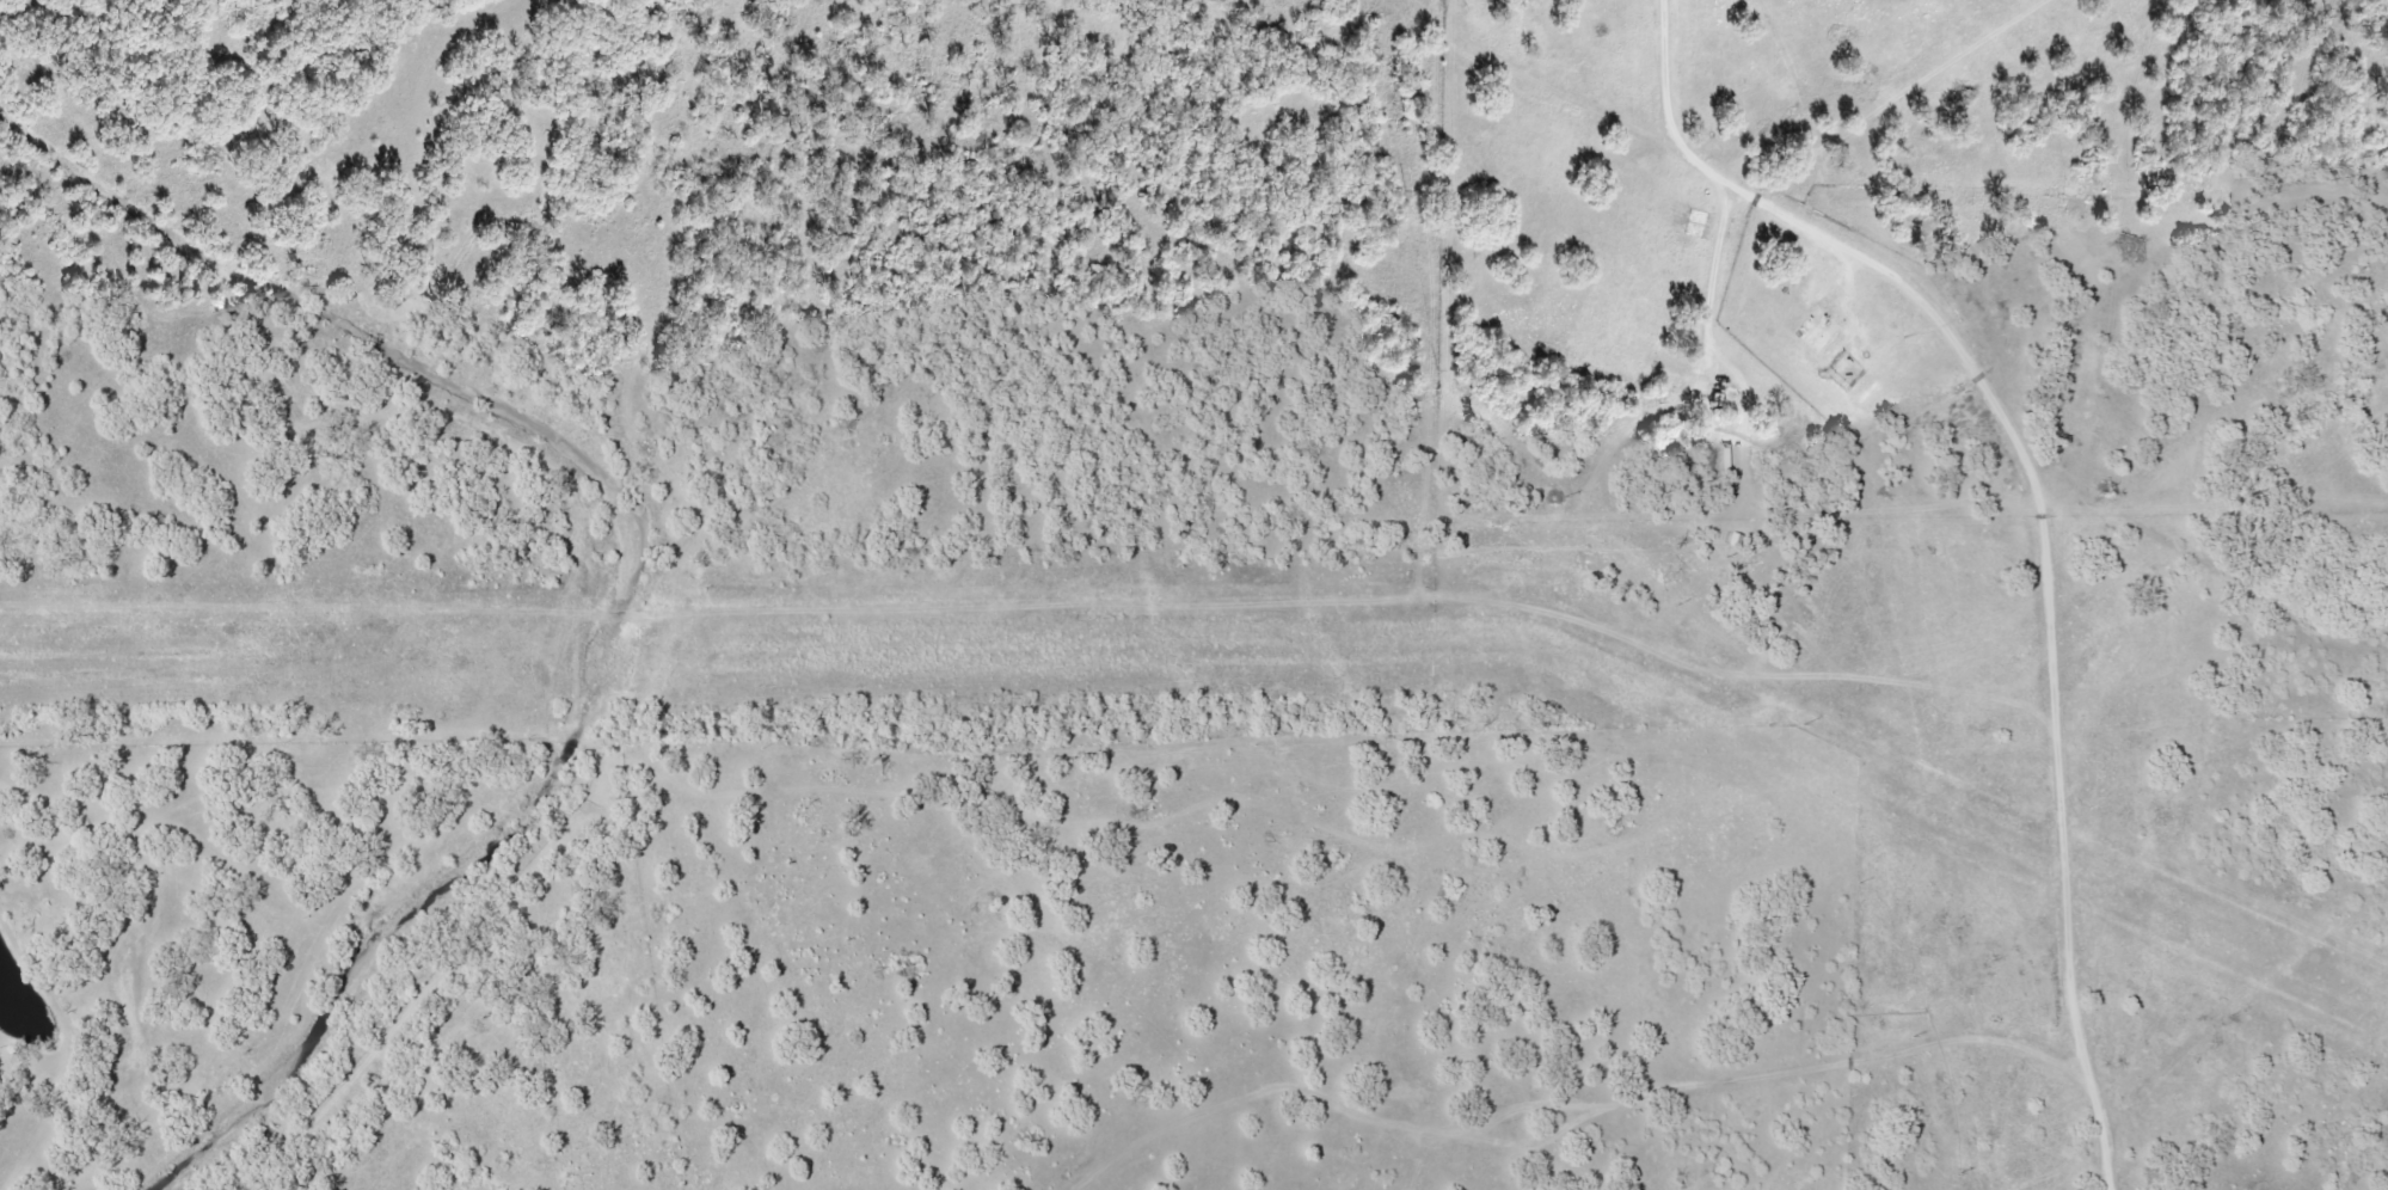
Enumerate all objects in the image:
road: (1951, 282)
road: (1978, 1078)
road: (1352, 1105)
road: (2107, 1134)

